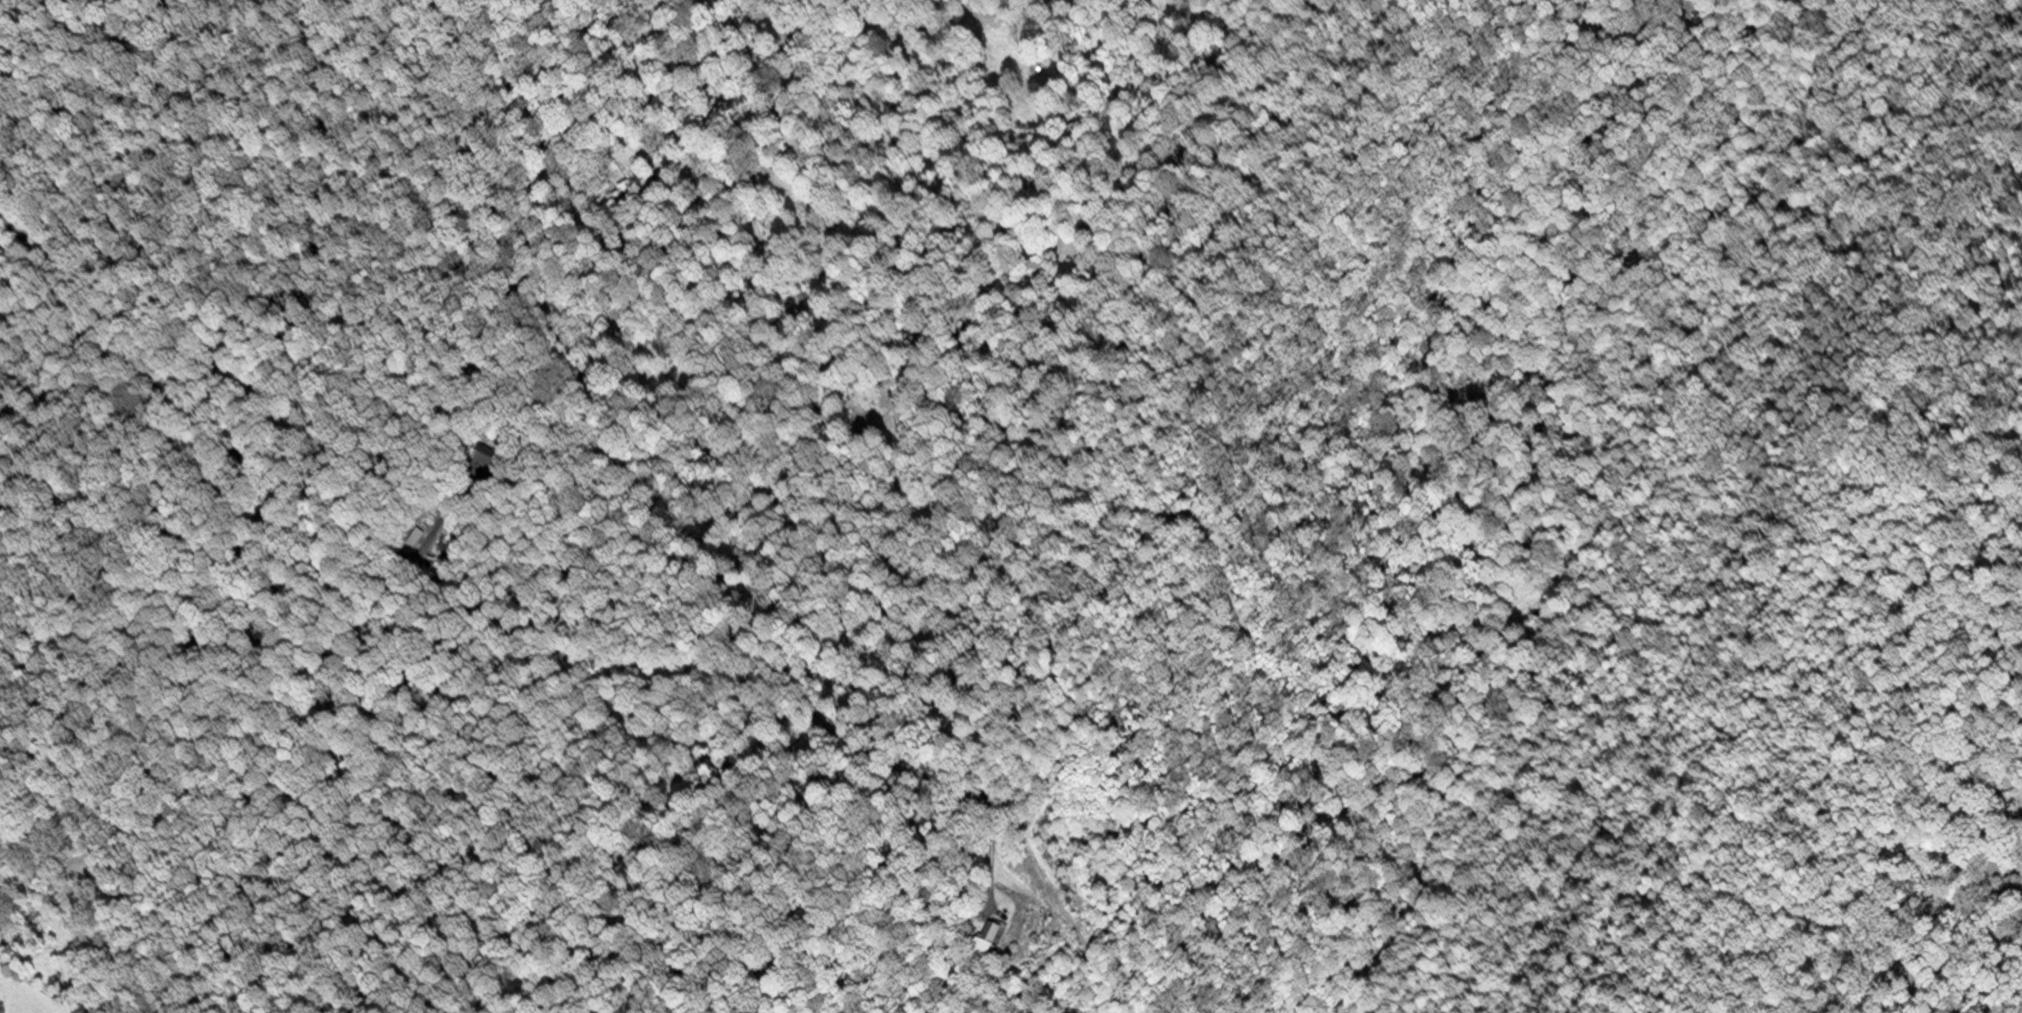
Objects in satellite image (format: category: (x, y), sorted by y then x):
building: (486, 454)
road: (414, 533)
building: (445, 544)
building: (991, 944)

